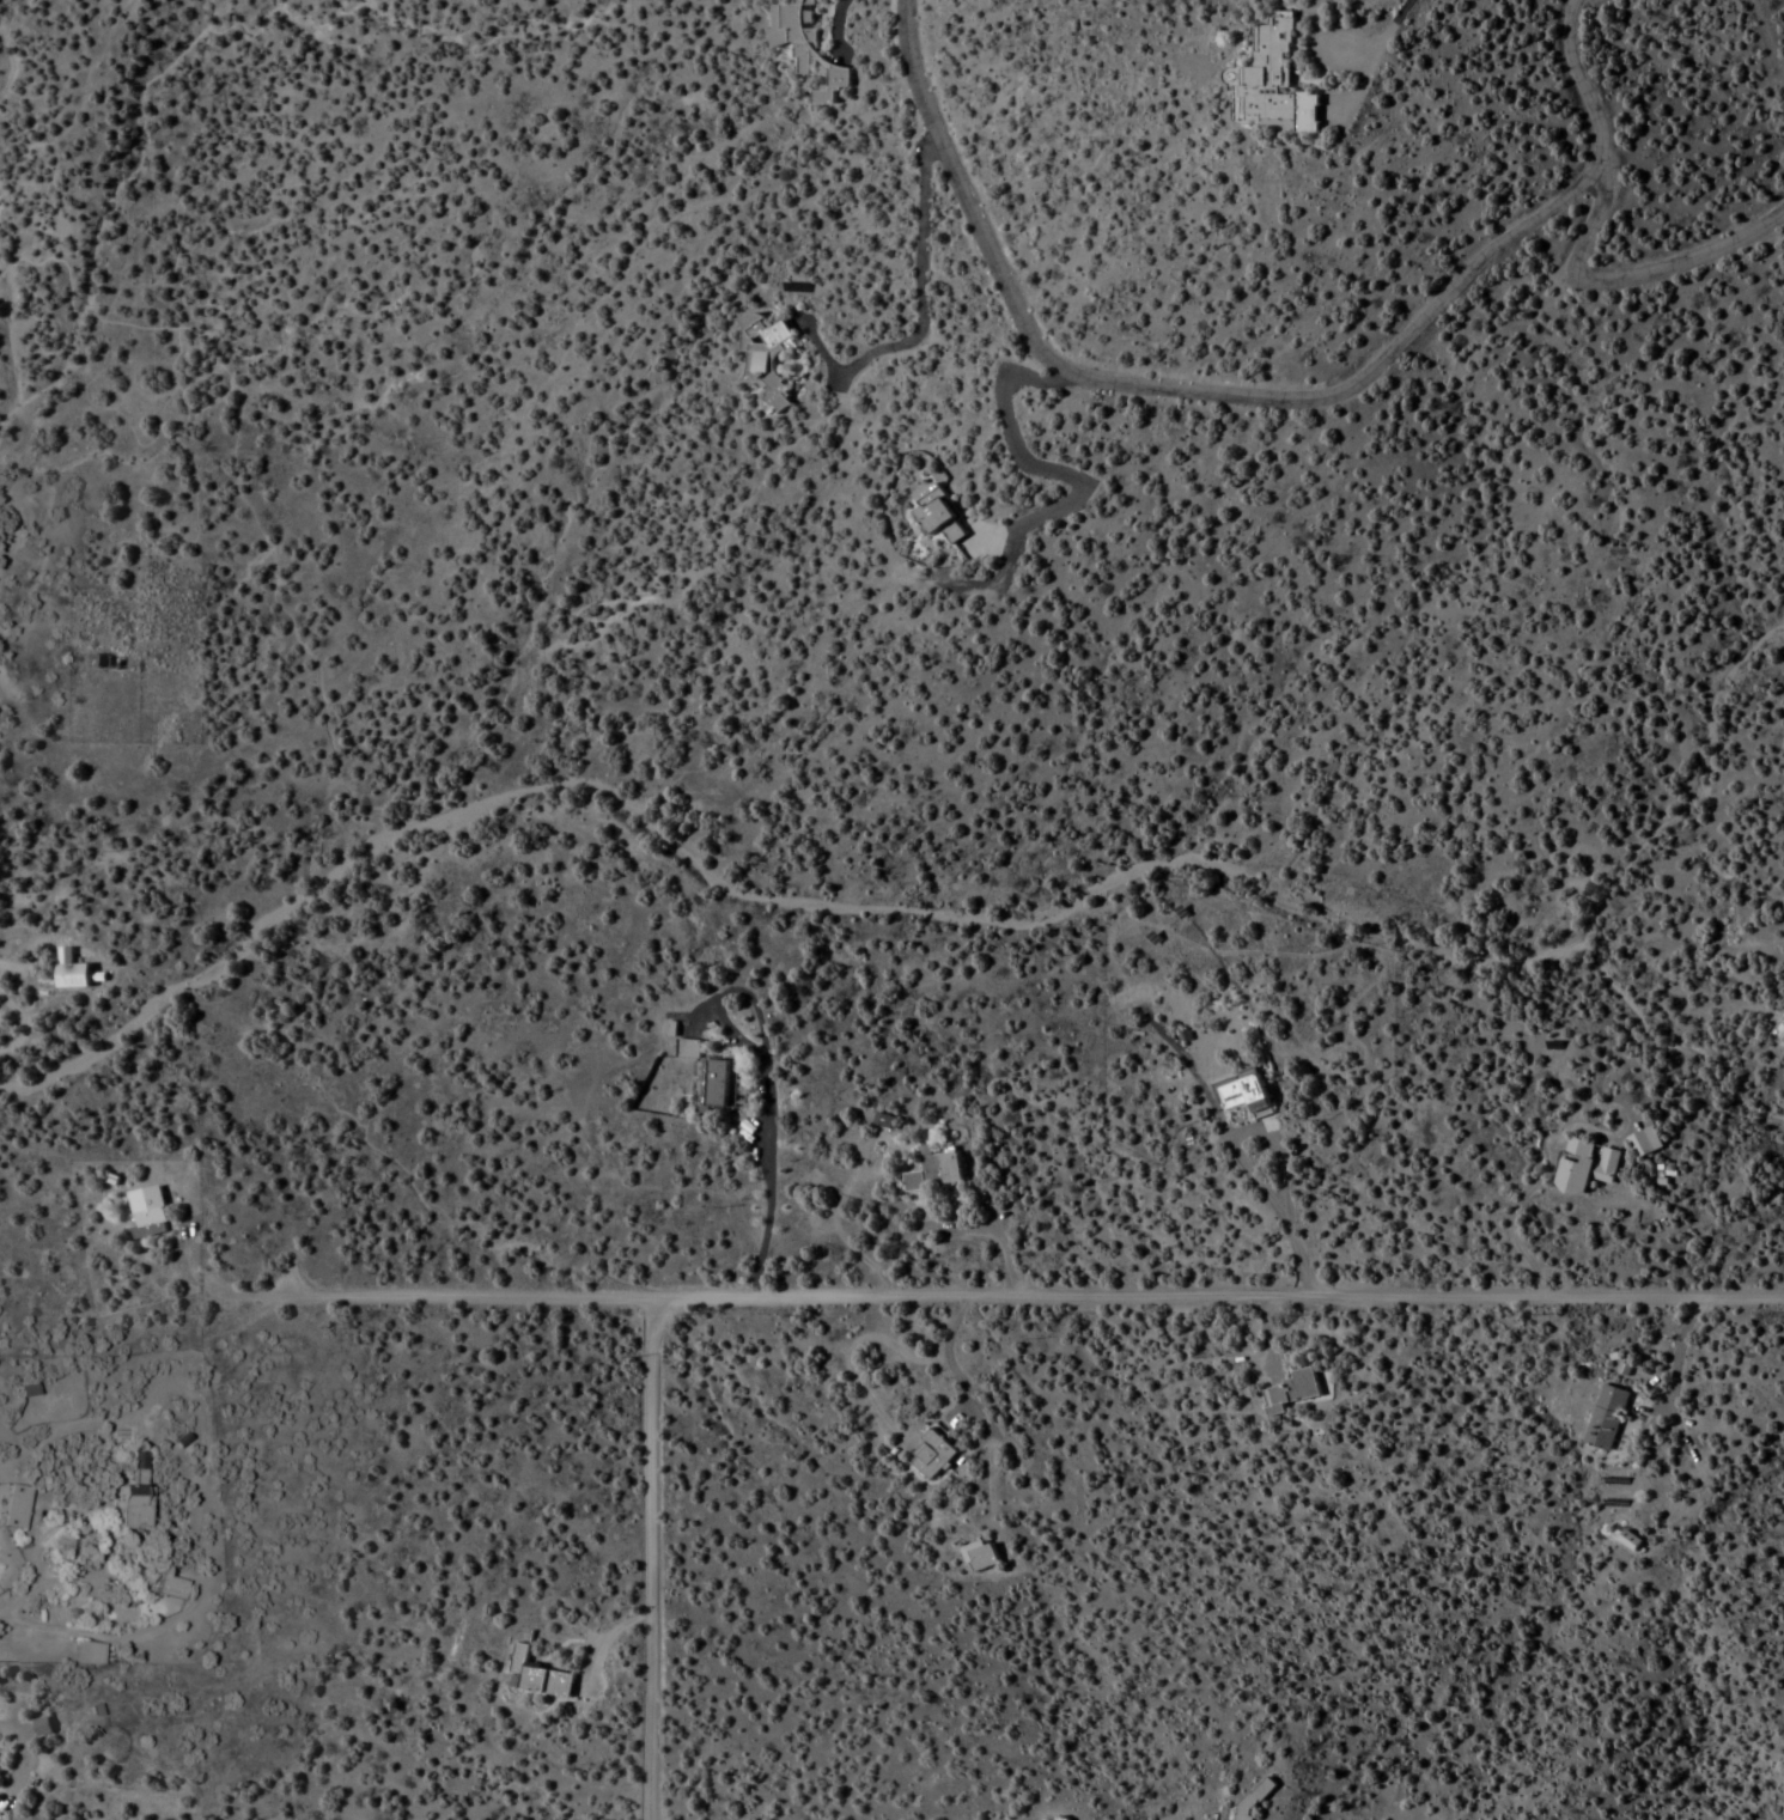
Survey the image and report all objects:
building: (803, 42)
building: (1277, 80)
road: (1628, 276)
building: (765, 357)
road: (1252, 397)
building: (937, 517)
building: (102, 663)
building: (11, 933)
building: (68, 974)
building: (1782, 1041)
building: (686, 1049)
building: (719, 1084)
building: (1244, 1096)
building: (882, 1121)
building: (1643, 1143)
building: (1584, 1167)
building: (932, 1171)
building: (145, 1213)
road: (1022, 1295)
building: (25, 1390)
building: (1289, 1393)
building: (1605, 1419)
building: (931, 1457)
building: (127, 1505)
building: (13, 1506)
building: (1627, 1541)
building: (979, 1557)
road: (646, 1559)
building: (168, 1587)
building: (85, 1652)
building: (536, 1675)

